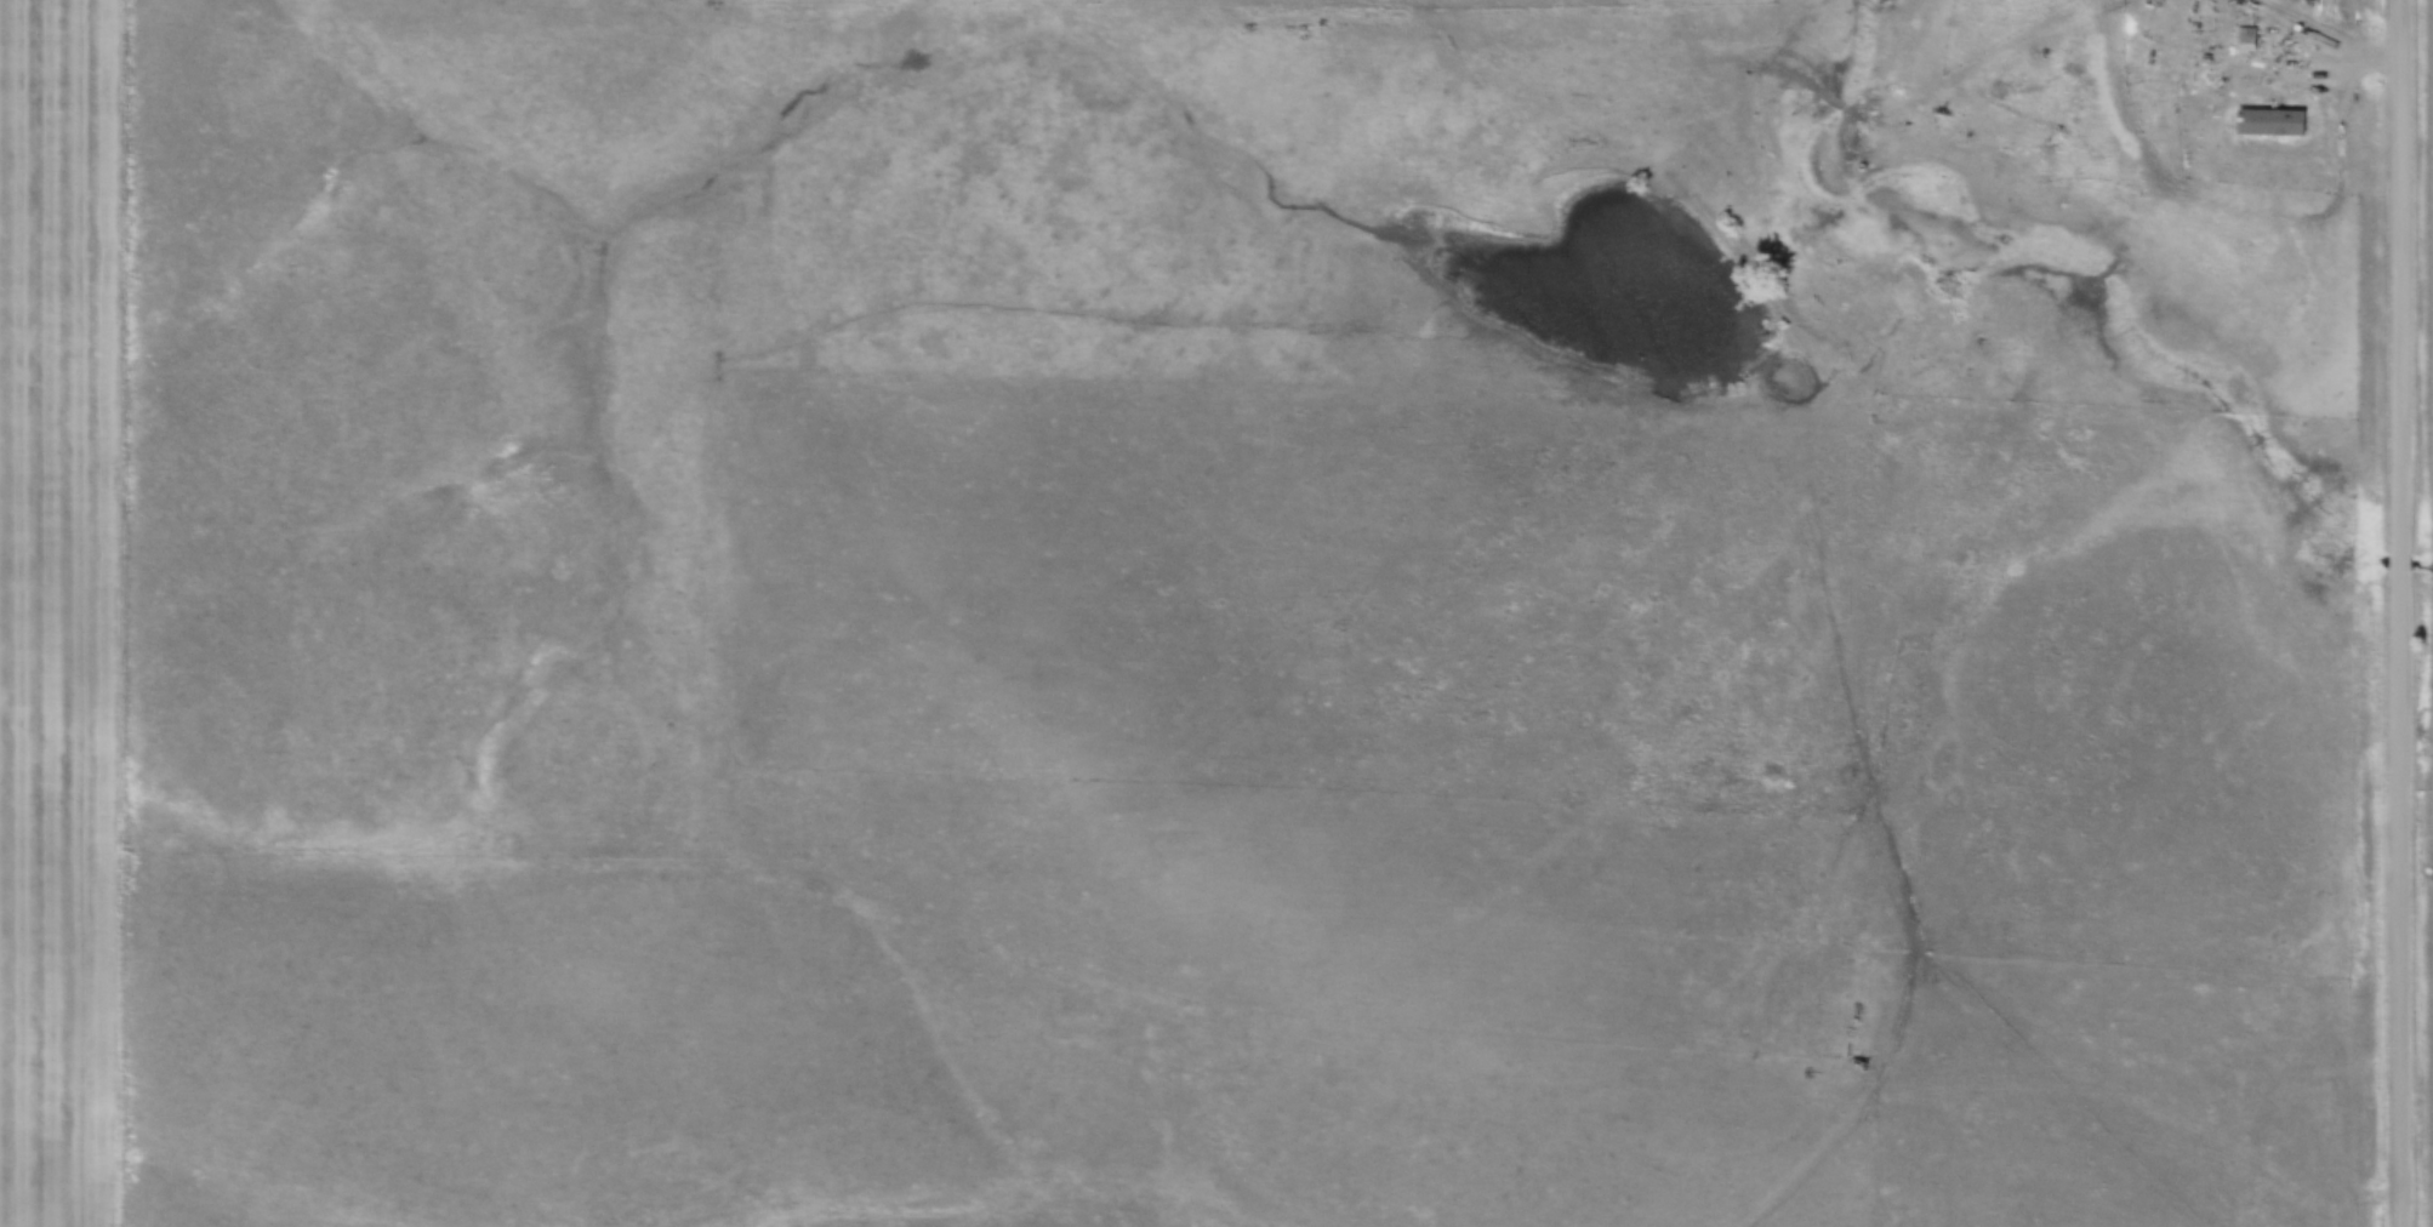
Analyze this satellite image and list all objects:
road: (2320, 39)
building: (2251, 40)
building: (2274, 124)
road: (2399, 613)

